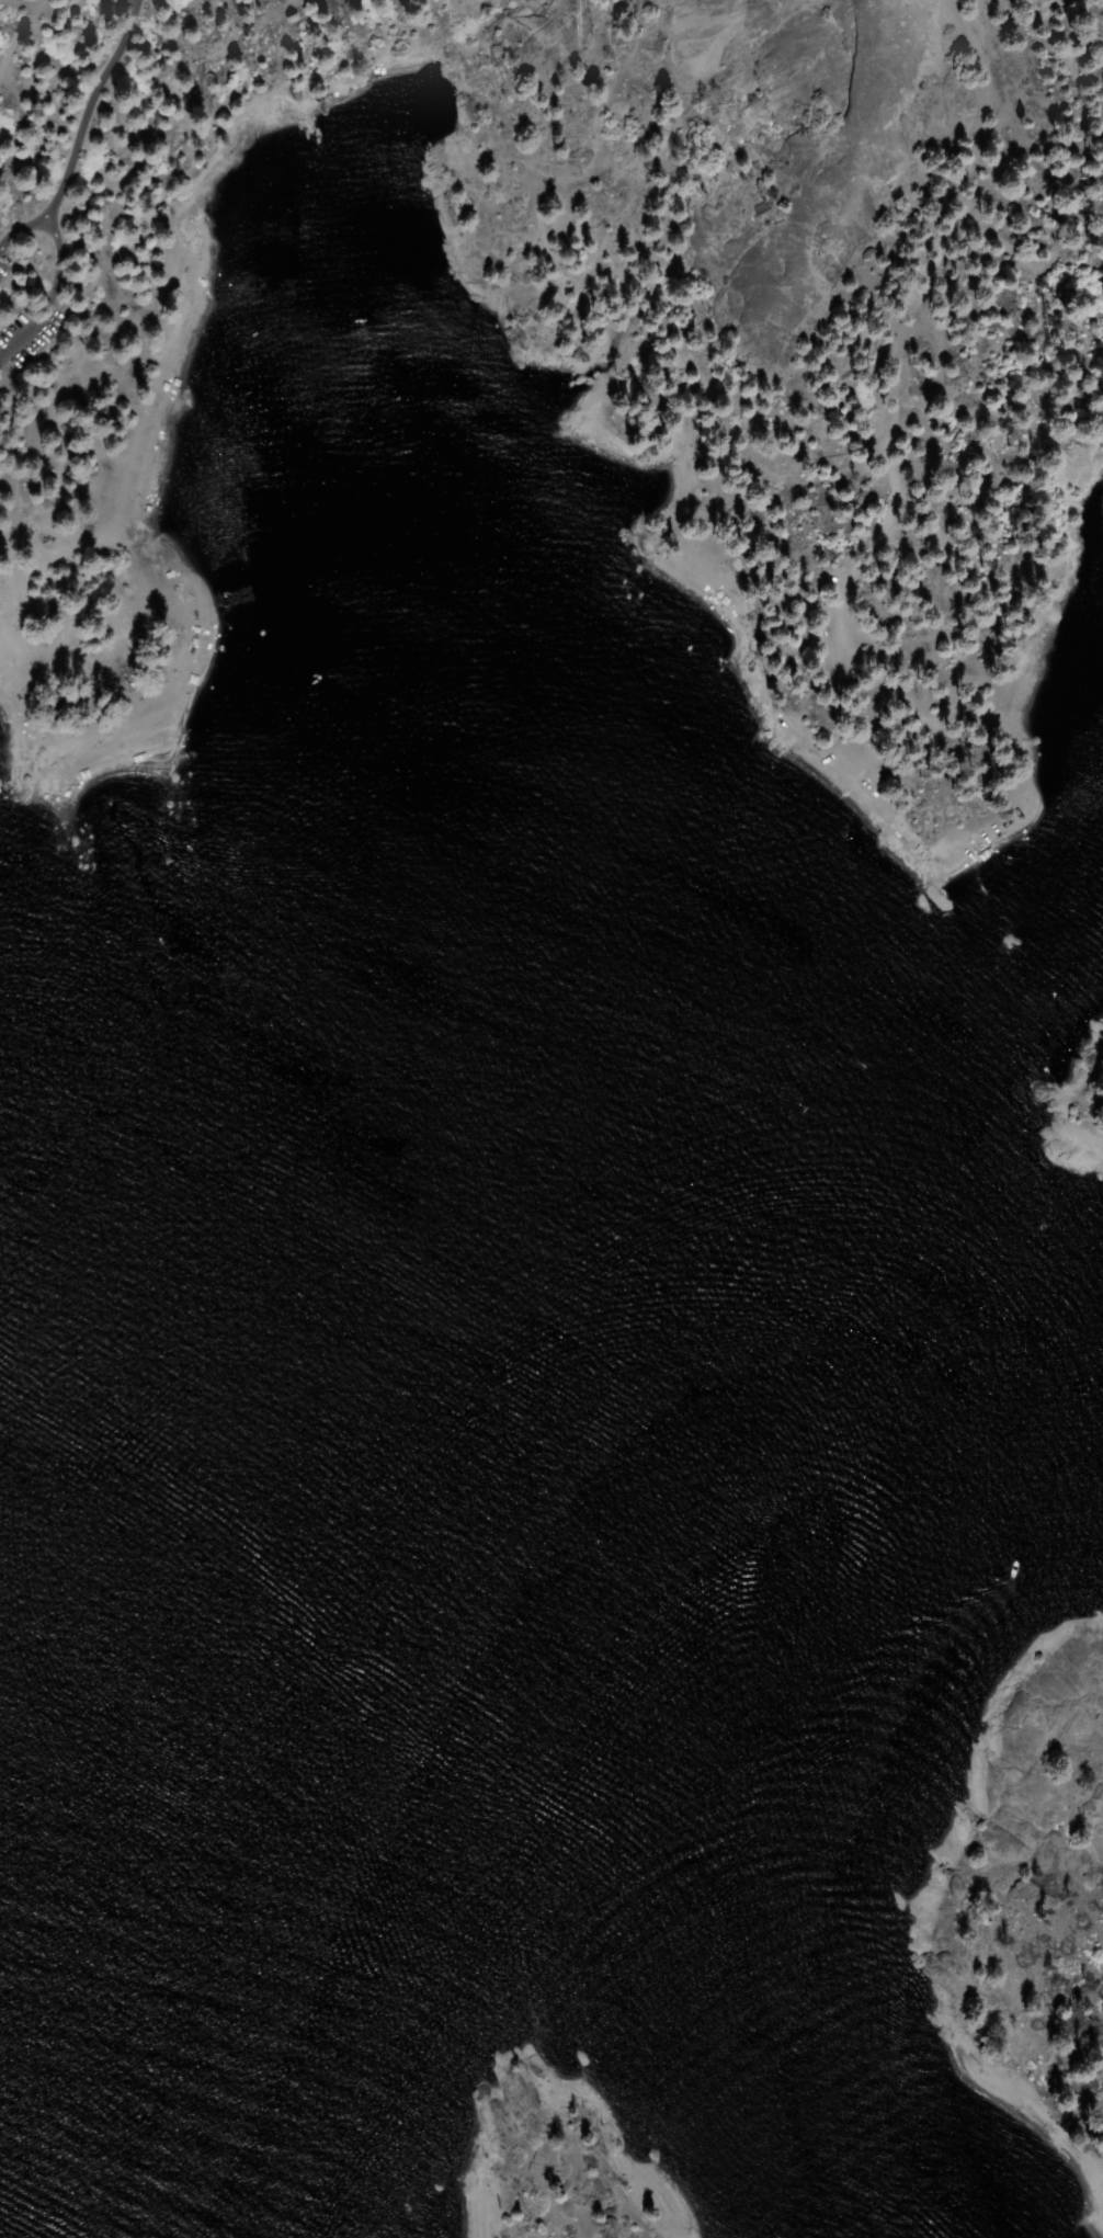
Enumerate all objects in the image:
road: (94, 115)
road: (46, 280)
parking lot: (31, 313)
road: (902, 325)

